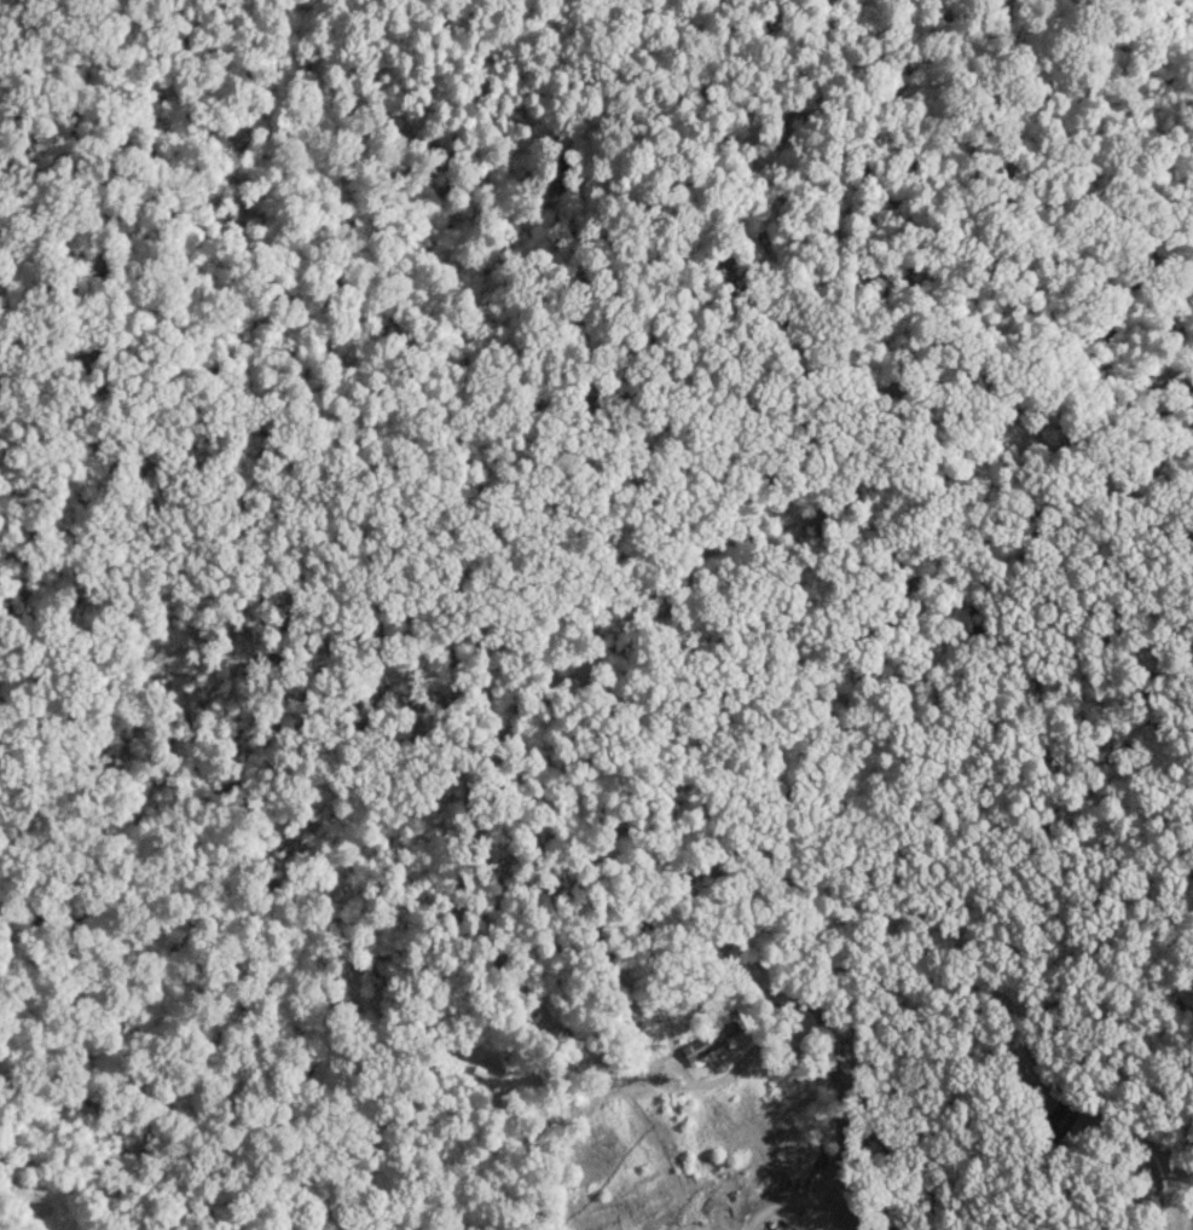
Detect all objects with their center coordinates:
building: (703, 1051)
building: (1056, 1121)
road: (1147, 1160)

